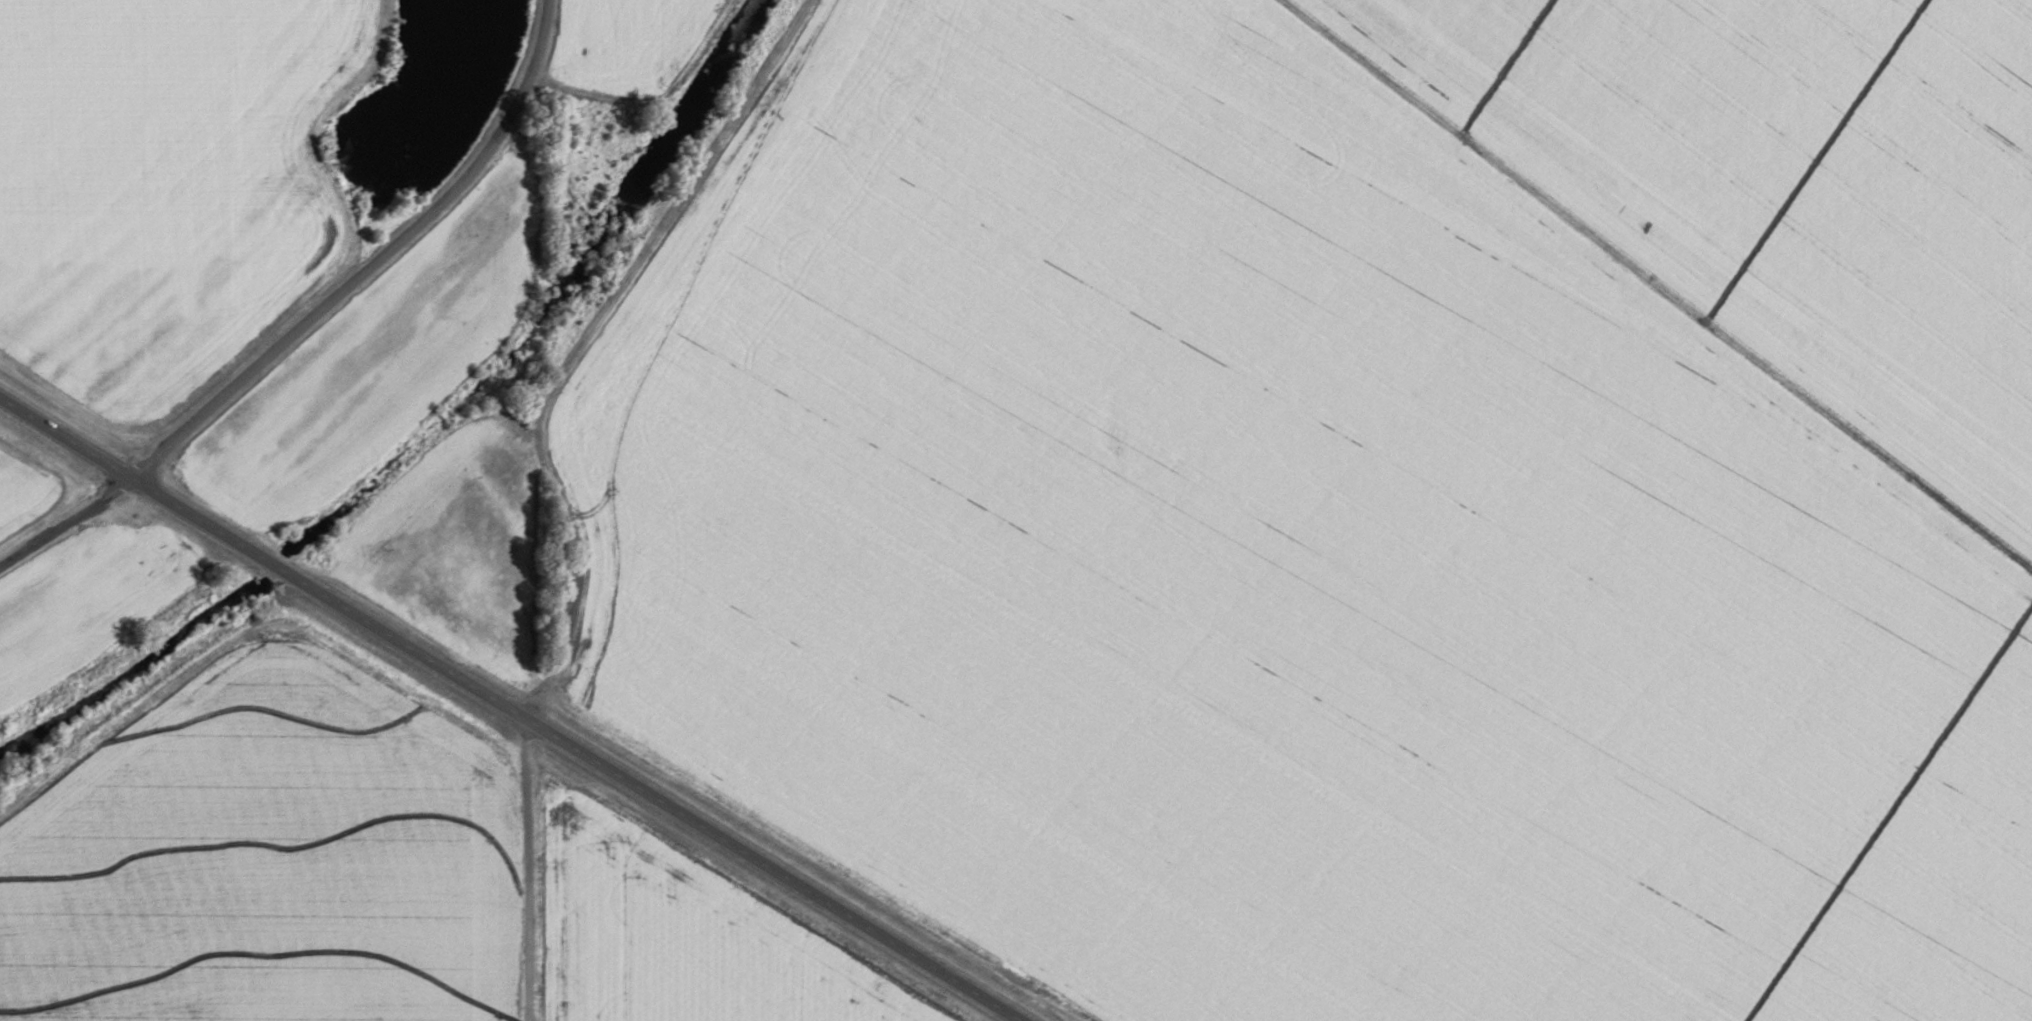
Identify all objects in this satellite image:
road: (312, 313)
road: (509, 709)

